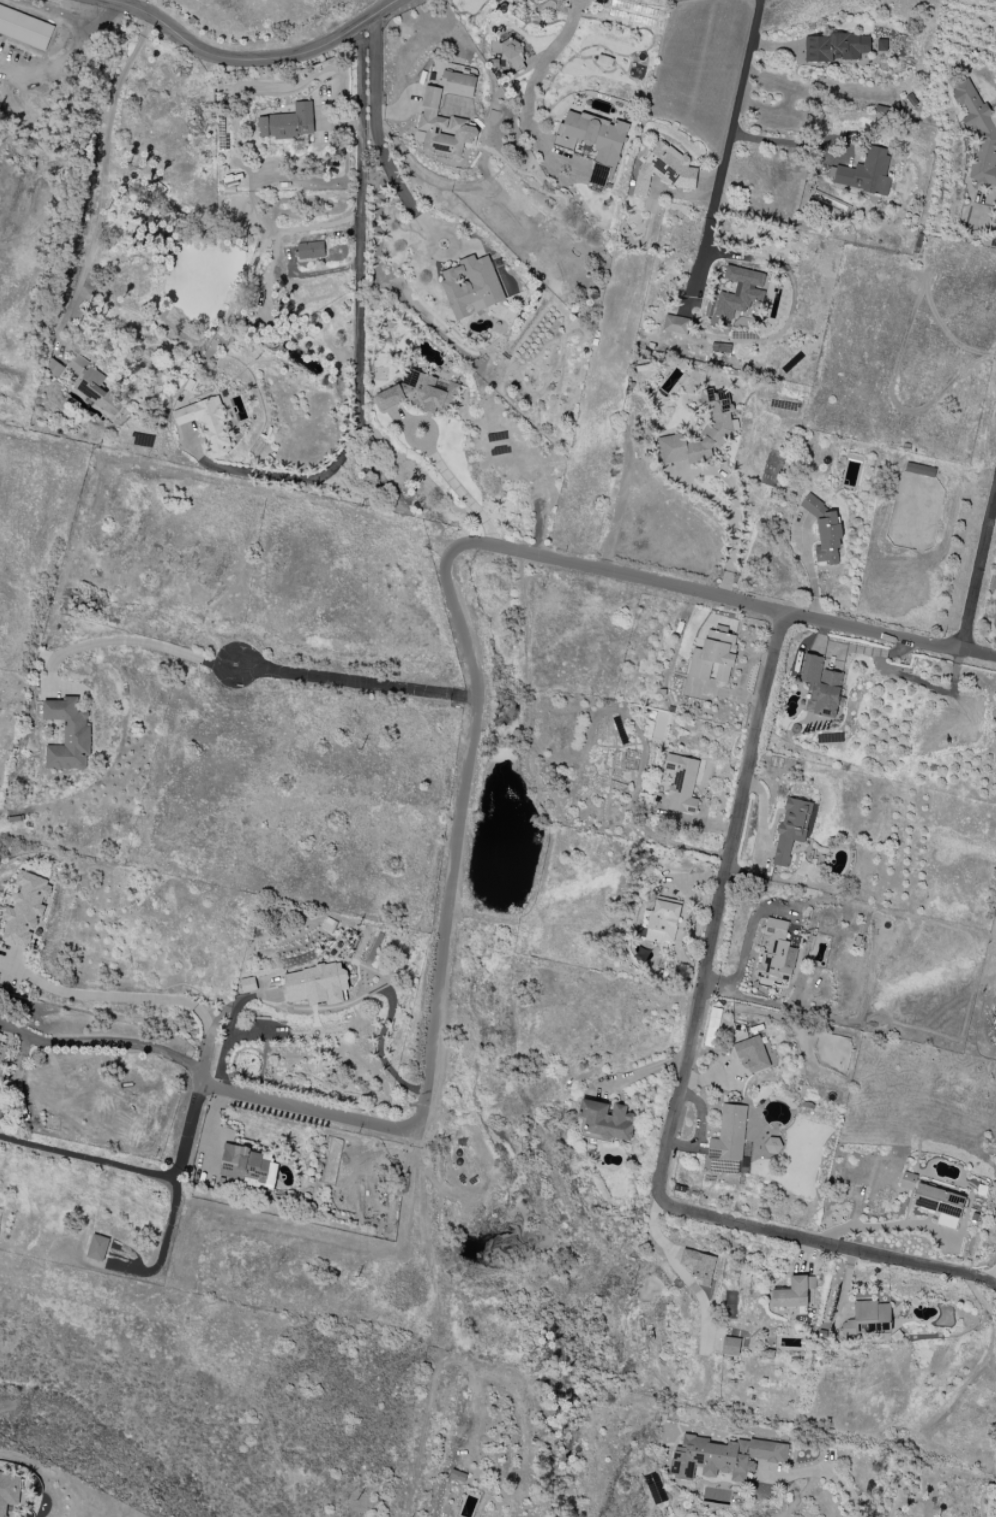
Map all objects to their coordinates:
building: (25, 28)
building: (881, 45)
building: (835, 47)
building: (510, 48)
road: (249, 59)
road: (69, 64)
road: (534, 84)
building: (445, 117)
building: (287, 123)
building: (978, 133)
road: (378, 138)
road: (783, 141)
building: (593, 143)
road: (726, 155)
building: (665, 170)
building: (863, 172)
building: (309, 250)
building: (471, 286)
building: (741, 294)
road: (360, 317)
building: (676, 325)
building: (77, 364)
building: (52, 369)
building: (97, 391)
building: (419, 393)
building: (207, 424)
building: (716, 429)
building: (922, 470)
road: (729, 479)
road: (461, 491)
road: (278, 494)
building: (825, 531)
road: (995, 564)
road: (976, 566)
road: (810, 571)
road: (716, 596)
road: (129, 641)
building: (713, 657)
building: (823, 685)
road: (356, 686)
building: (68, 736)
building: (681, 784)
building: (791, 829)
road: (461, 840)
building: (25, 909)
building: (662, 922)
building: (775, 956)
building: (315, 984)
building: (247, 985)
road: (114, 997)
building: (712, 1027)
building: (0, 1043)
road: (114, 1043)
building: (752, 1054)
road: (684, 1069)
road: (642, 1074)
road: (307, 1111)
building: (606, 1121)
building: (727, 1142)
building: (773, 1147)
building: (250, 1166)
road: (155, 1175)
building: (907, 1181)
building: (940, 1204)
road: (881, 1227)
road: (167, 1241)
building: (97, 1247)
building: (698, 1265)
road: (991, 1283)
building: (794, 1292)
building: (869, 1318)
building: (731, 1346)
building: (722, 1458)
road: (826, 1472)
building: (457, 1476)
building: (9, 1491)

